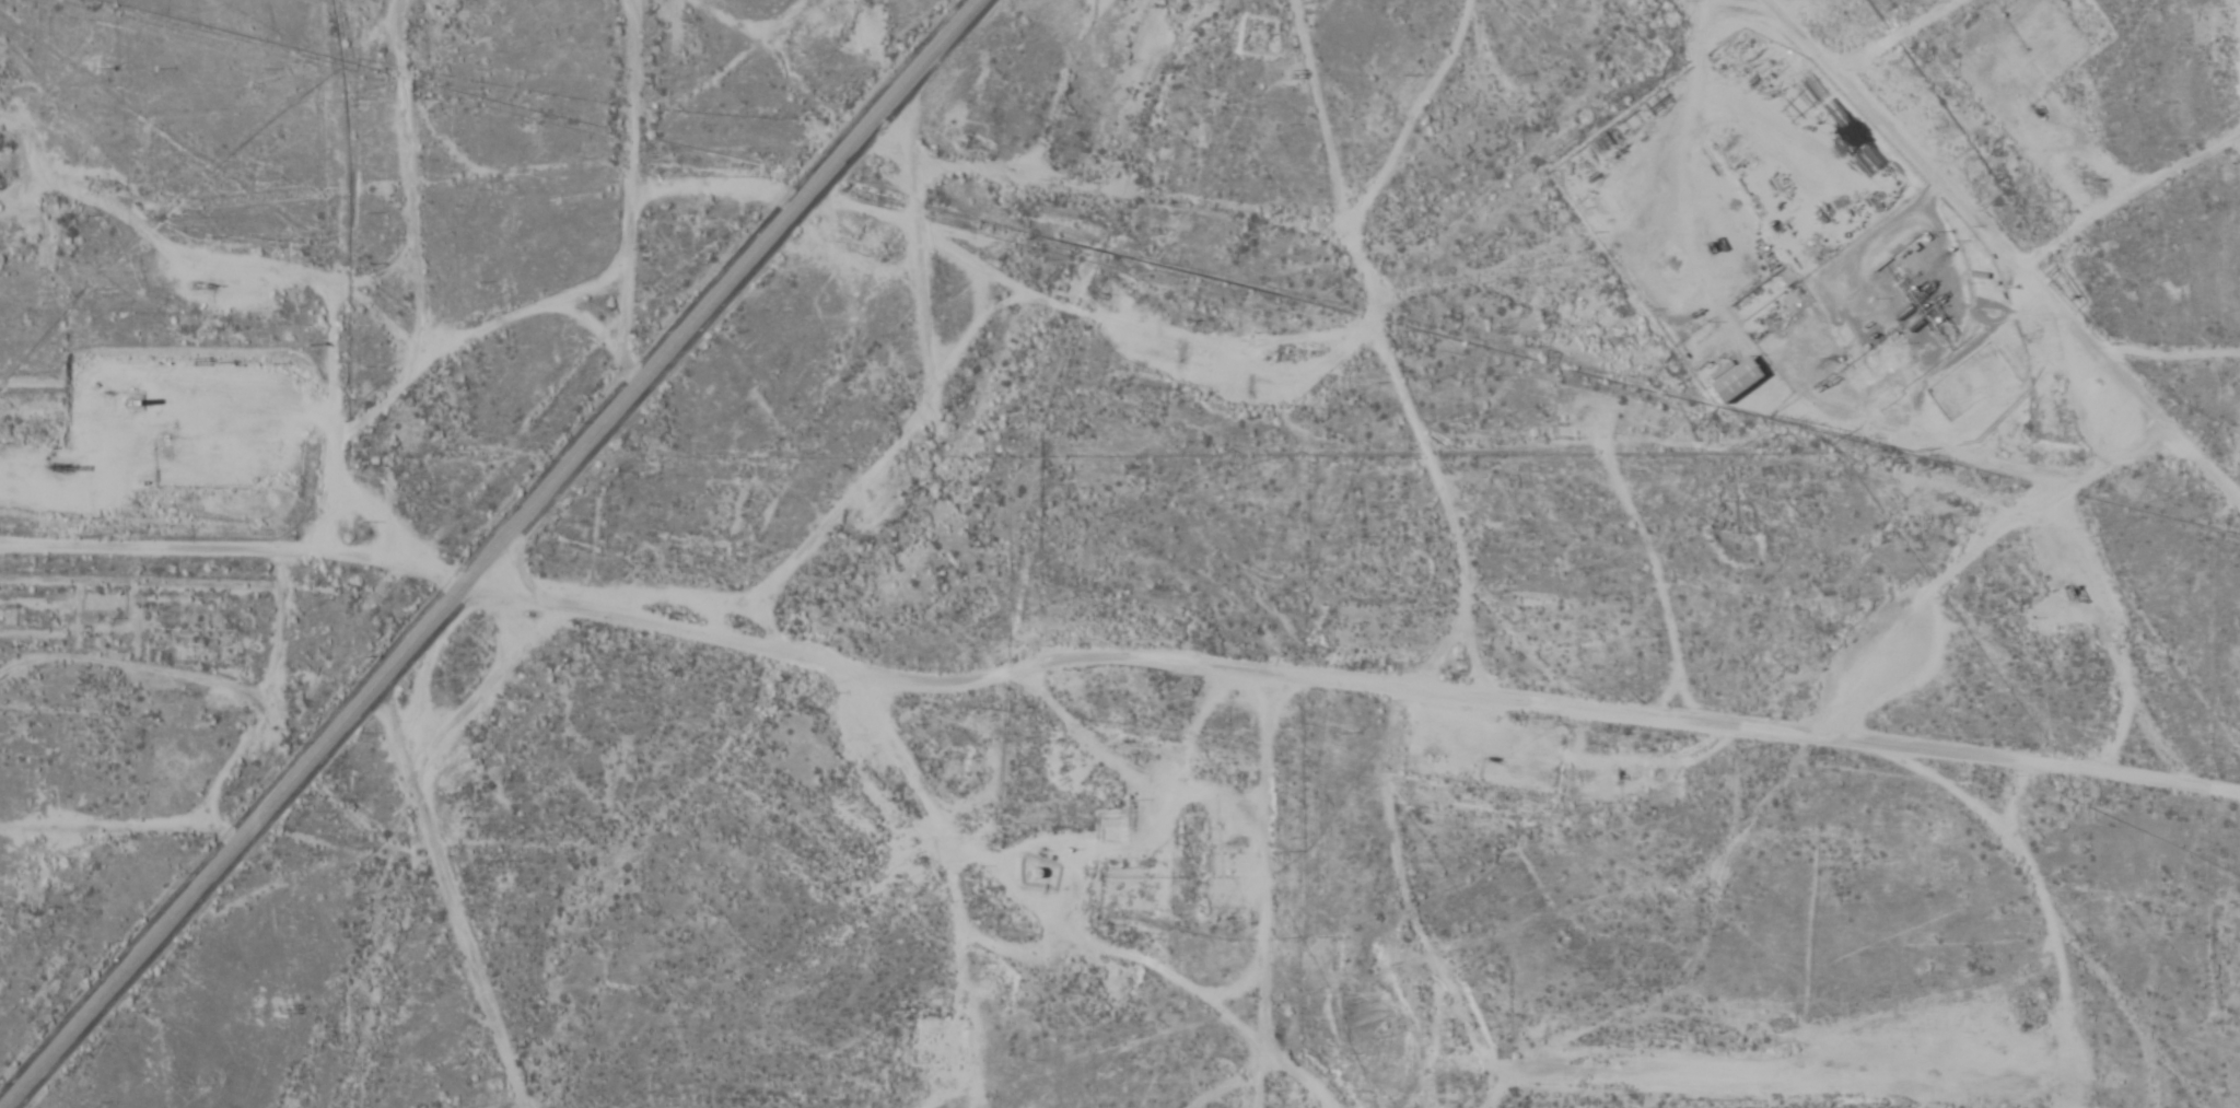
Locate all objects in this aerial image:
road: (966, 3)
road: (630, 180)
road: (1994, 264)
road: (1380, 363)
building: (1730, 381)
road: (490, 553)
road: (1347, 680)

